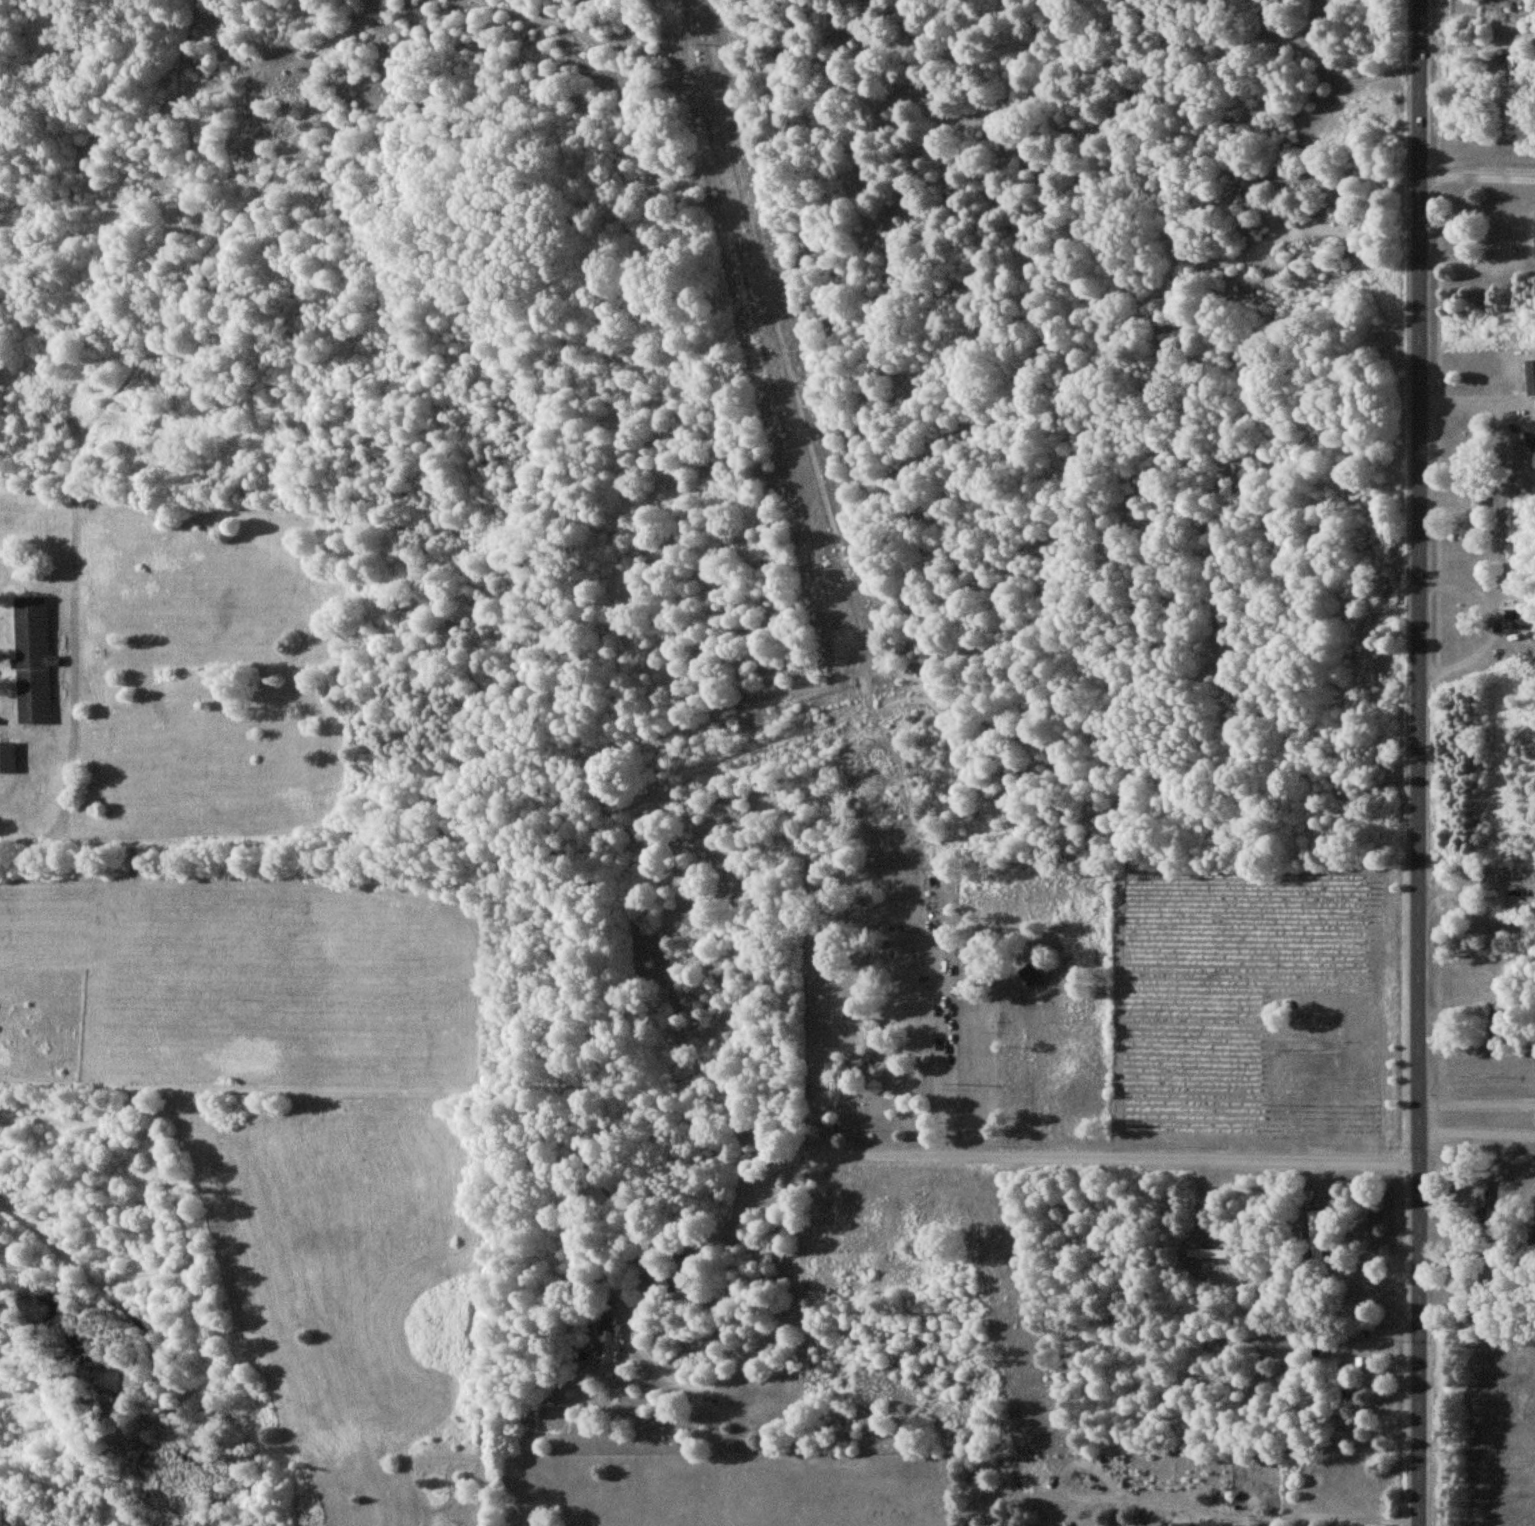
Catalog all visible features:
road: (1477, 178)
building: (1530, 377)
building: (1531, 438)
building: (1477, 498)
building: (1517, 618)
building: (33, 661)
building: (7, 757)
road: (1421, 763)
building: (1520, 900)
building: (1032, 972)
building: (864, 1042)
road: (1478, 1136)
road: (1117, 1160)
building: (1315, 1235)
building: (1208, 1253)
building: (608, 1342)
road: (643, 1356)
building: (1335, 1385)
road: (1184, 1497)
building: (1179, 1524)

